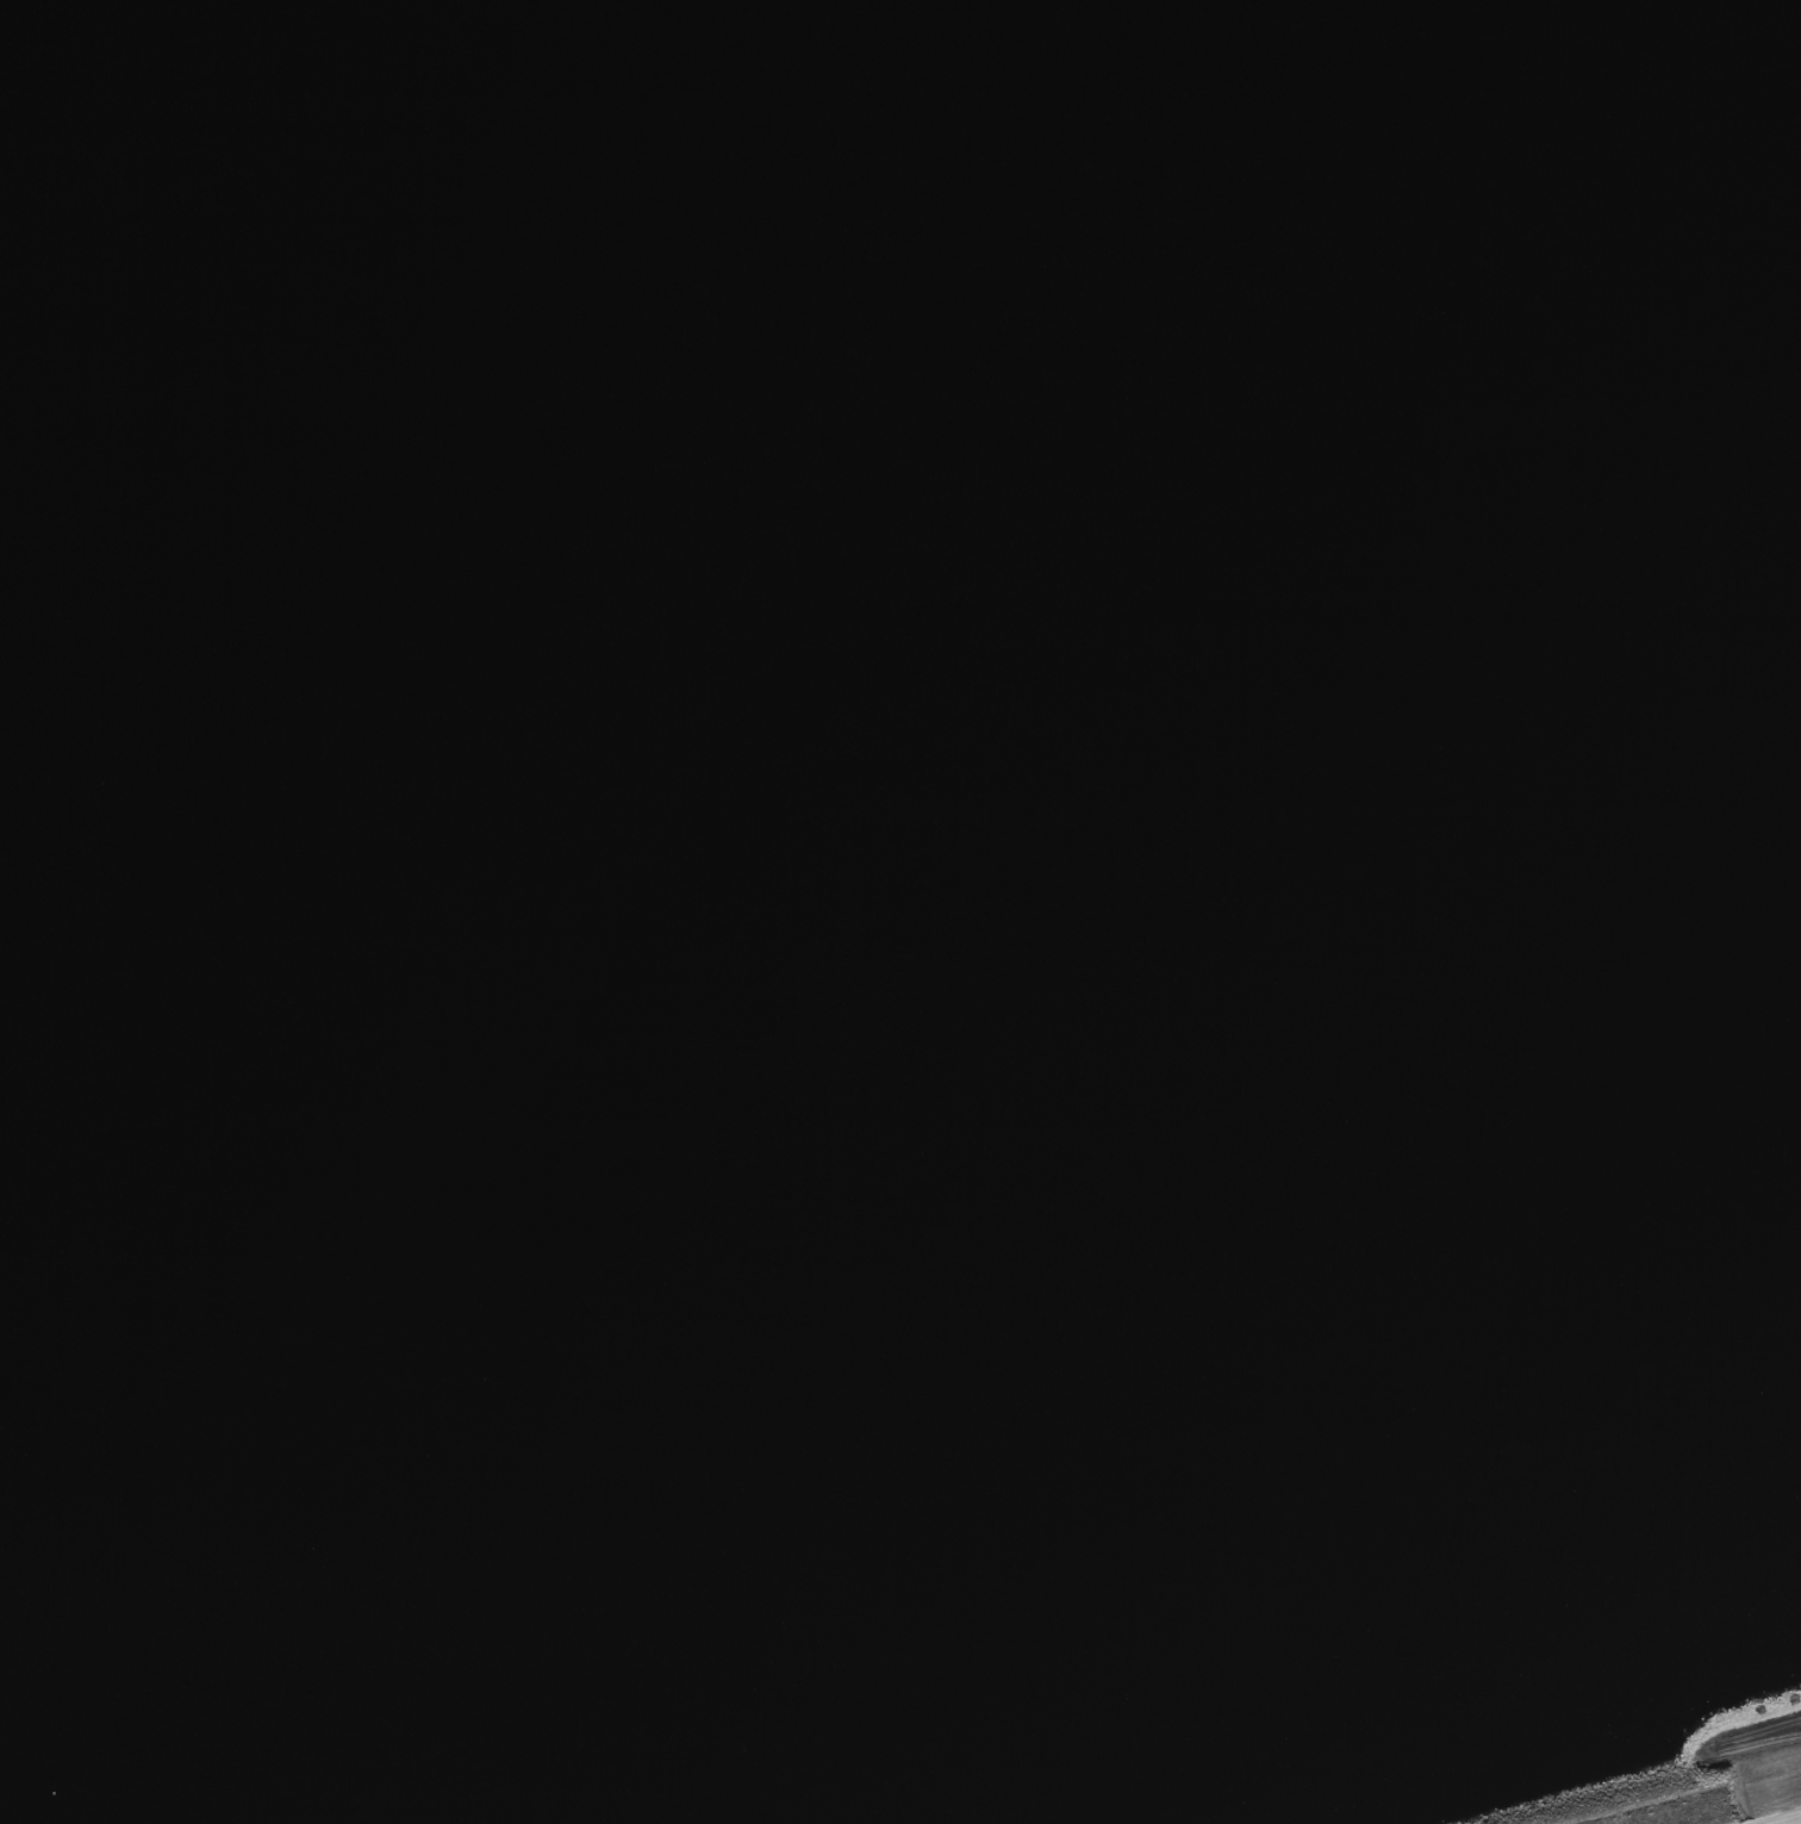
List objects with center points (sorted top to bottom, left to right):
dam: (1683, 1794)
road: (1782, 1819)

